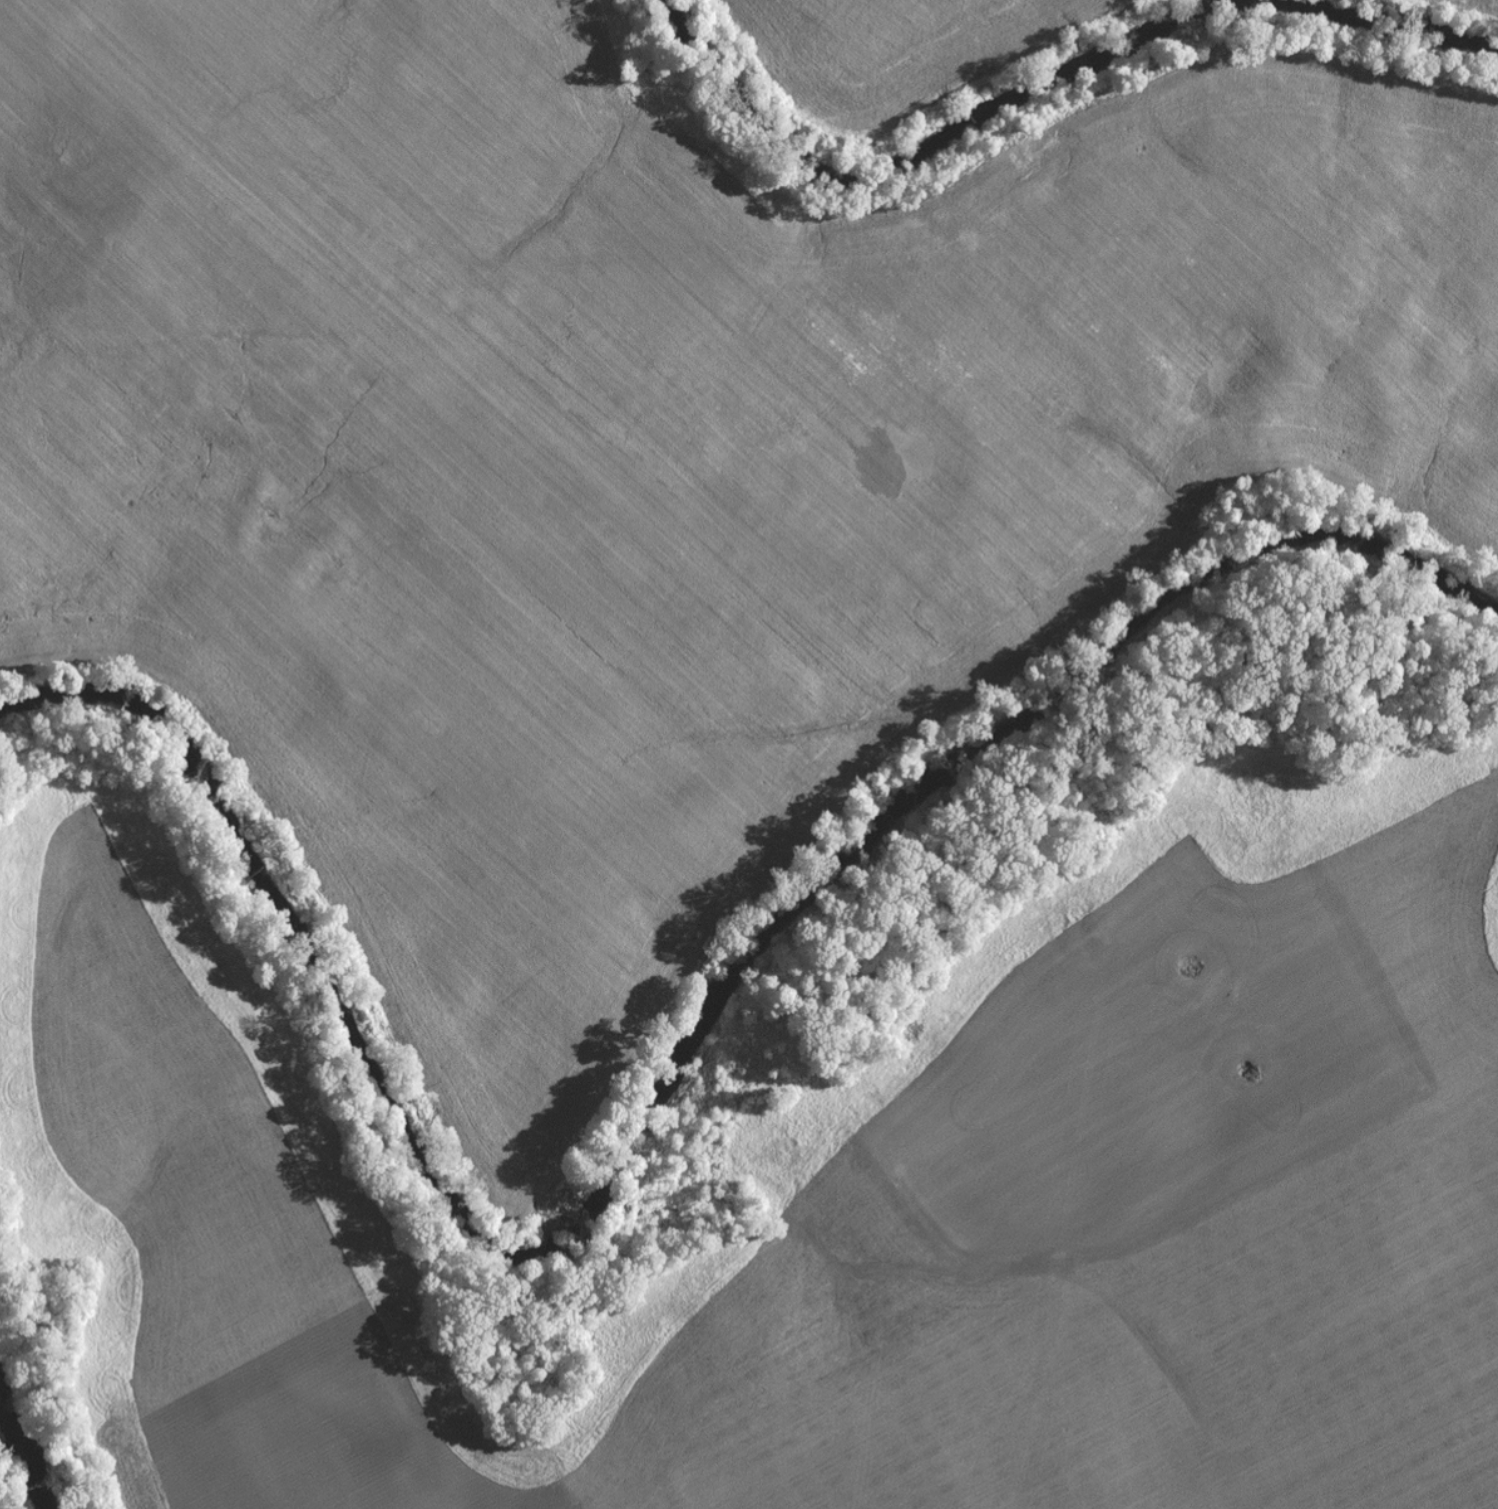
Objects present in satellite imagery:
road: (1223, 1467)

